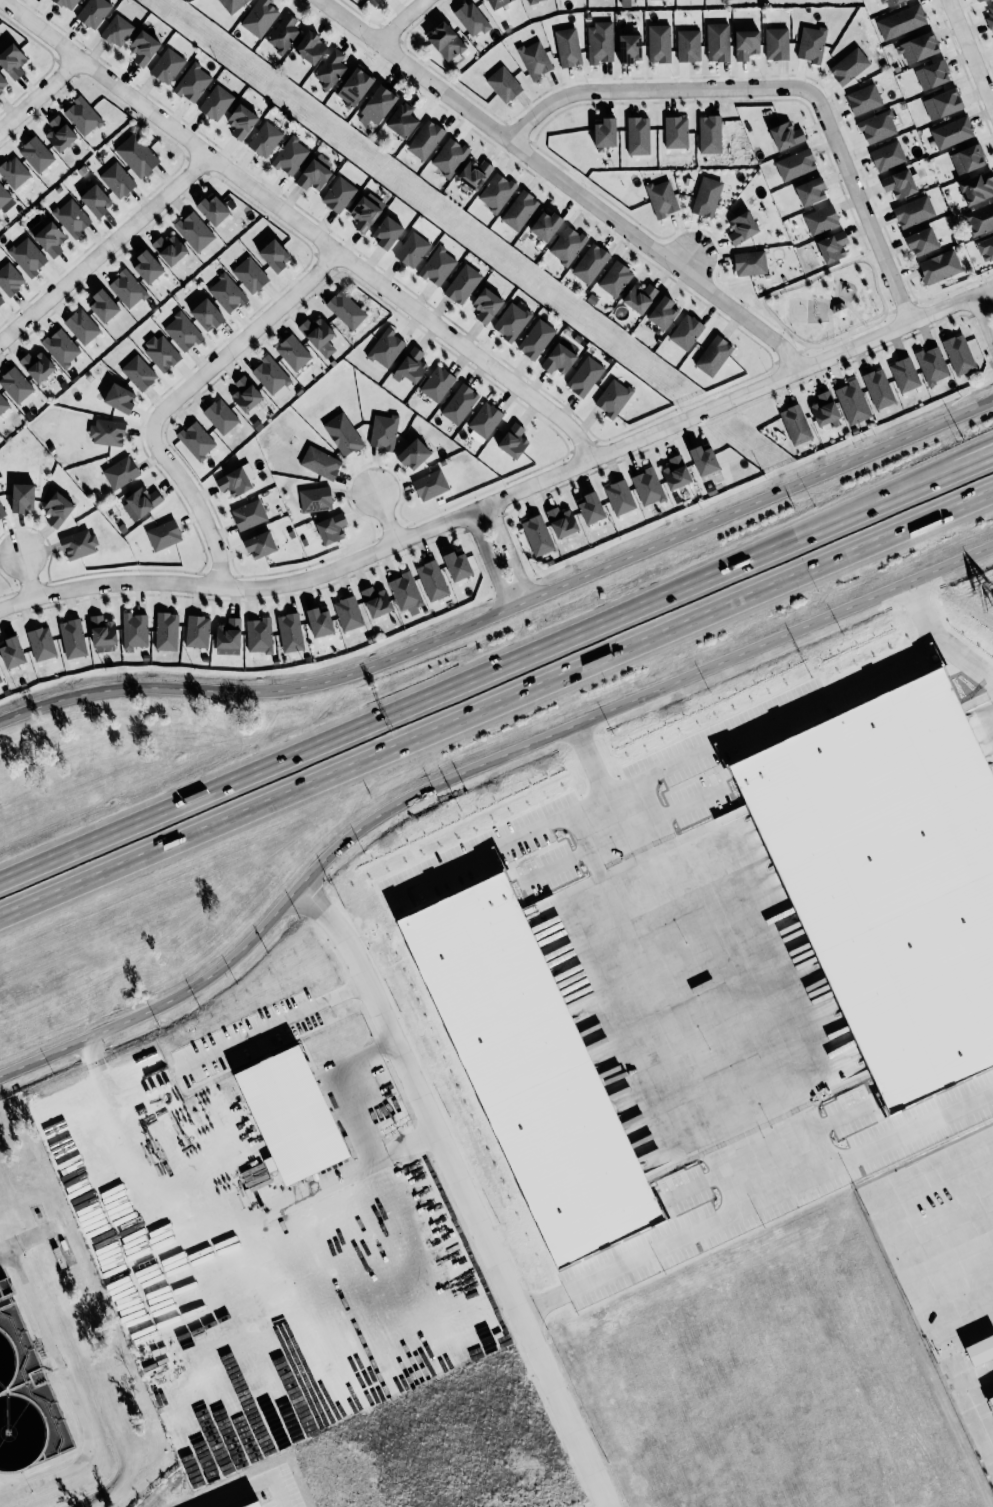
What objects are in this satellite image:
building: (721, 0)
building: (977, 0)
building: (530, 1)
building: (374, 2)
building: (888, 2)
building: (496, 3)
building: (66, 4)
building: (231, 5)
building: (93, 12)
building: (990, 16)
building: (259, 17)
building: (471, 18)
road: (399, 21)
building: (901, 21)
building: (116, 30)
building: (282, 33)
building: (992, 34)
building: (444, 41)
building: (599, 42)
building: (717, 42)
building: (658, 43)
building: (745, 43)
building: (776, 43)
building: (811, 43)
building: (688, 45)
building: (310, 46)
building: (567, 46)
building: (142, 47)
building: (629, 47)
building: (917, 47)
road: (973, 51)
building: (534, 59)
building: (12, 60)
building: (166, 65)
building: (848, 66)
building: (330, 68)
building: (931, 74)
building: (192, 82)
building: (3, 83)
building: (503, 84)
building: (354, 86)
road: (776, 86)
road: (40, 95)
building: (863, 98)
building: (215, 102)
building: (941, 103)
building: (376, 105)
building: (82, 116)
building: (401, 120)
building: (241, 121)
building: (877, 127)
building: (605, 132)
building: (675, 132)
building: (951, 132)
building: (59, 133)
building: (709, 133)
building: (637, 135)
building: (786, 135)
building: (264, 139)
building: (424, 139)
building: (36, 154)
building: (136, 155)
building: (290, 155)
building: (887, 156)
building: (449, 157)
building: (967, 158)
building: (795, 164)
building: (13, 172)
building: (314, 172)
building: (474, 173)
building: (116, 179)
road: (562, 182)
building: (898, 183)
building: (976, 187)
building: (809, 190)
building: (496, 192)
building: (338, 194)
building: (706, 196)
building: (661, 197)
building: (4, 199)
building: (95, 200)
building: (212, 209)
building: (519, 210)
building: (913, 211)
building: (363, 213)
building: (71, 217)
building: (980, 218)
building: (820, 219)
road: (302, 222)
building: (545, 225)
building: (741, 227)
building: (194, 231)
building: (386, 231)
building: (47, 236)
building: (921, 241)
building: (566, 245)
road: (103, 246)
building: (832, 246)
building: (169, 248)
building: (985, 248)
building: (411, 249)
building: (273, 255)
building: (27, 256)
road: (688, 259)
building: (589, 262)
building: (749, 262)
building: (437, 265)
building: (147, 266)
building: (938, 266)
building: (249, 274)
building: (10, 278)
building: (615, 278)
building: (462, 283)
building: (127, 288)
building: (226, 293)
building: (639, 296)
building: (1, 300)
building: (485, 304)
building: (103, 306)
building: (345, 309)
building: (661, 312)
building: (206, 314)
building: (512, 319)
road: (982, 323)
building: (81, 325)
building: (182, 331)
building: (686, 331)
building: (317, 335)
building: (535, 338)
building: (60, 346)
building: (386, 348)
building: (160, 352)
building: (292, 352)
building: (958, 354)
building: (712, 355)
building: (558, 358)
building: (932, 364)
building: (36, 365)
building: (410, 365)
building: (138, 372)
building: (904, 374)
building: (269, 375)
building: (584, 376)
building: (436, 383)
building: (15, 384)
building: (878, 388)
building: (245, 394)
road: (176, 396)
building: (612, 397)
building: (119, 398)
building: (852, 402)
building: (459, 403)
building: (3, 404)
building: (824, 408)
building: (220, 415)
building: (483, 420)
building: (795, 424)
building: (383, 431)
building: (107, 432)
building: (342, 433)
building: (196, 440)
building: (513, 440)
building: (413, 454)
building: (702, 459)
building: (320, 462)
building: (120, 472)
building: (675, 472)
building: (235, 480)
building: (430, 484)
building: (647, 486)
road: (907, 486)
road: (907, 490)
road: (507, 494)
building: (619, 496)
building: (22, 497)
building: (315, 498)
building: (140, 502)
building: (590, 507)
building: (57, 508)
building: (1, 512)
building: (248, 514)
road: (385, 516)
building: (561, 521)
building: (330, 527)
building: (163, 534)
building: (537, 534)
building: (78, 544)
building: (259, 544)
road: (509, 550)
road: (487, 560)
building: (456, 565)
road: (27, 573)
building: (431, 580)
building: (405, 592)
building: (375, 601)
road: (507, 607)
building: (348, 612)
building: (319, 622)
building: (134, 630)
building: (166, 631)
building: (197, 631)
building: (290, 632)
building: (102, 633)
building: (228, 633)
building: (259, 634)
road: (938, 637)
building: (72, 638)
building: (41, 643)
building: (11, 652)
building: (0, 679)
road: (989, 681)
road: (493, 702)
road: (411, 705)
road: (590, 760)
road: (469, 768)
road: (665, 769)
road: (606, 797)
building: (891, 875)
road: (191, 888)
road: (210, 1049)
building: (530, 1069)
road: (343, 1083)
building: (291, 1114)
road: (460, 1191)
road: (755, 1202)
road: (246, 1219)
road: (27, 1238)
wastewater plant: (62, 1352)
road: (71, 1395)
wastewater plant: (26, 1401)
building: (990, 1402)
building: (5, 1506)

